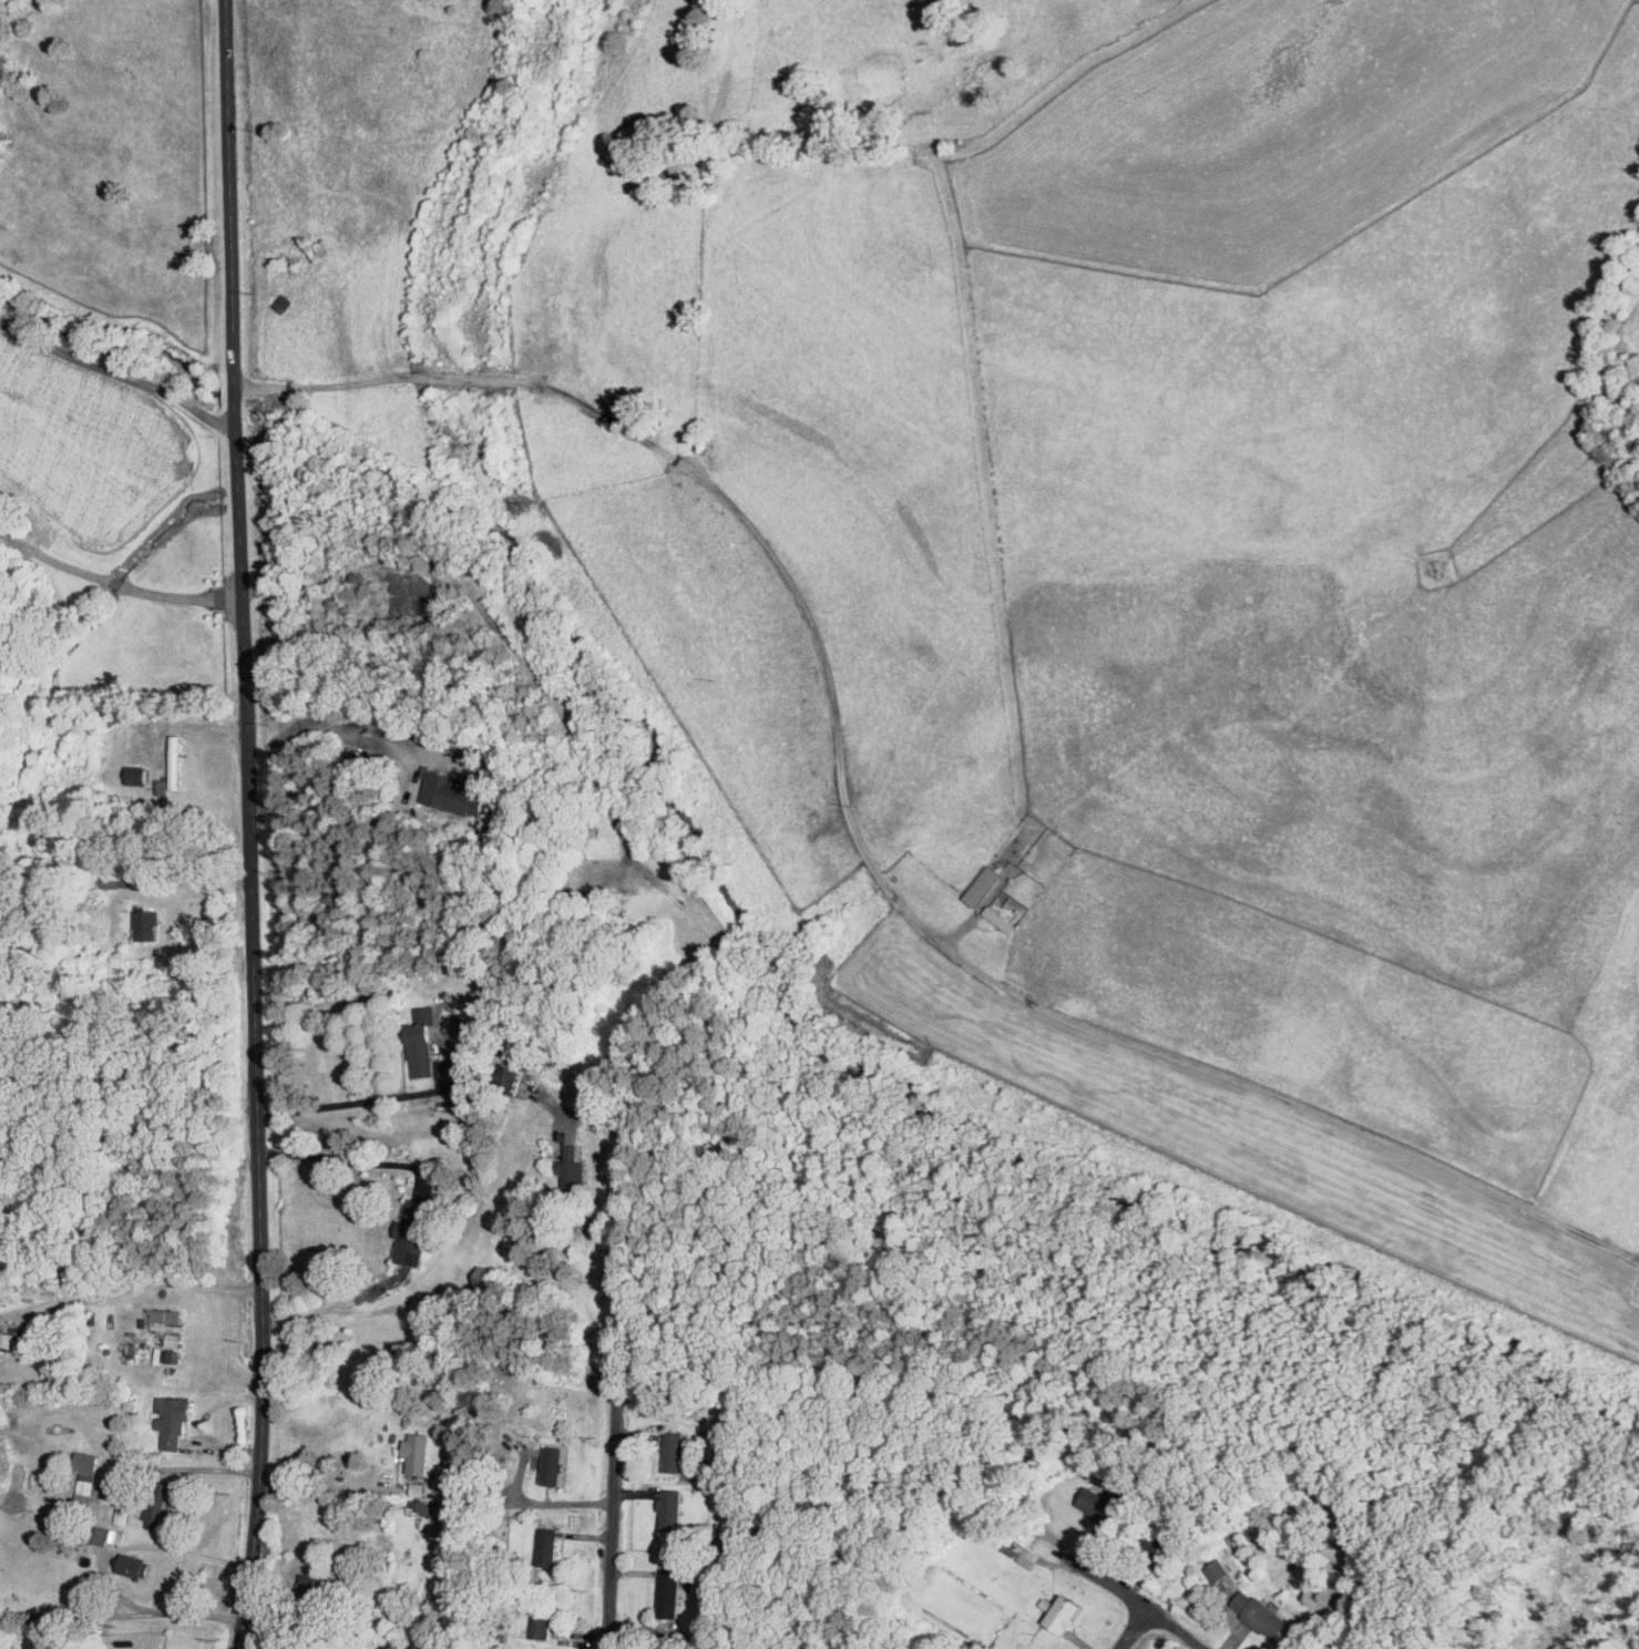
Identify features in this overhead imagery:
building: (281, 303)
road: (721, 495)
road: (240, 557)
road: (115, 584)
road: (326, 718)
building: (176, 760)
building: (452, 791)
building: (124, 879)
building: (984, 884)
building: (147, 924)
building: (422, 1043)
building: (510, 1076)
building: (467, 1079)
road: (356, 1100)
road: (583, 1113)
road: (336, 1157)
building: (573, 1174)
building: (413, 1231)
building: (484, 1278)
road: (137, 1287)
building: (166, 1315)
building: (4, 1339)
building: (173, 1339)
building: (172, 1355)
road: (263, 1383)
road: (618, 1389)
building: (173, 1420)
building: (675, 1452)
building: (418, 1453)
building: (86, 1462)
building: (553, 1465)
building: (417, 1488)
building: (84, 1489)
road: (544, 1502)
building: (157, 1504)
building: (1099, 1505)
building: (672, 1508)
building: (438, 1509)
building: (121, 1516)
building: (109, 1536)
building: (1352, 1542)
building: (547, 1545)
building: (1030, 1556)
road: (102, 1566)
building: (135, 1566)
building: (1218, 1569)
building: (670, 1590)
road: (1139, 1604)
building: (1064, 1612)
building: (1260, 1612)
road: (81, 1614)
building: (543, 1624)
road: (1133, 1629)

